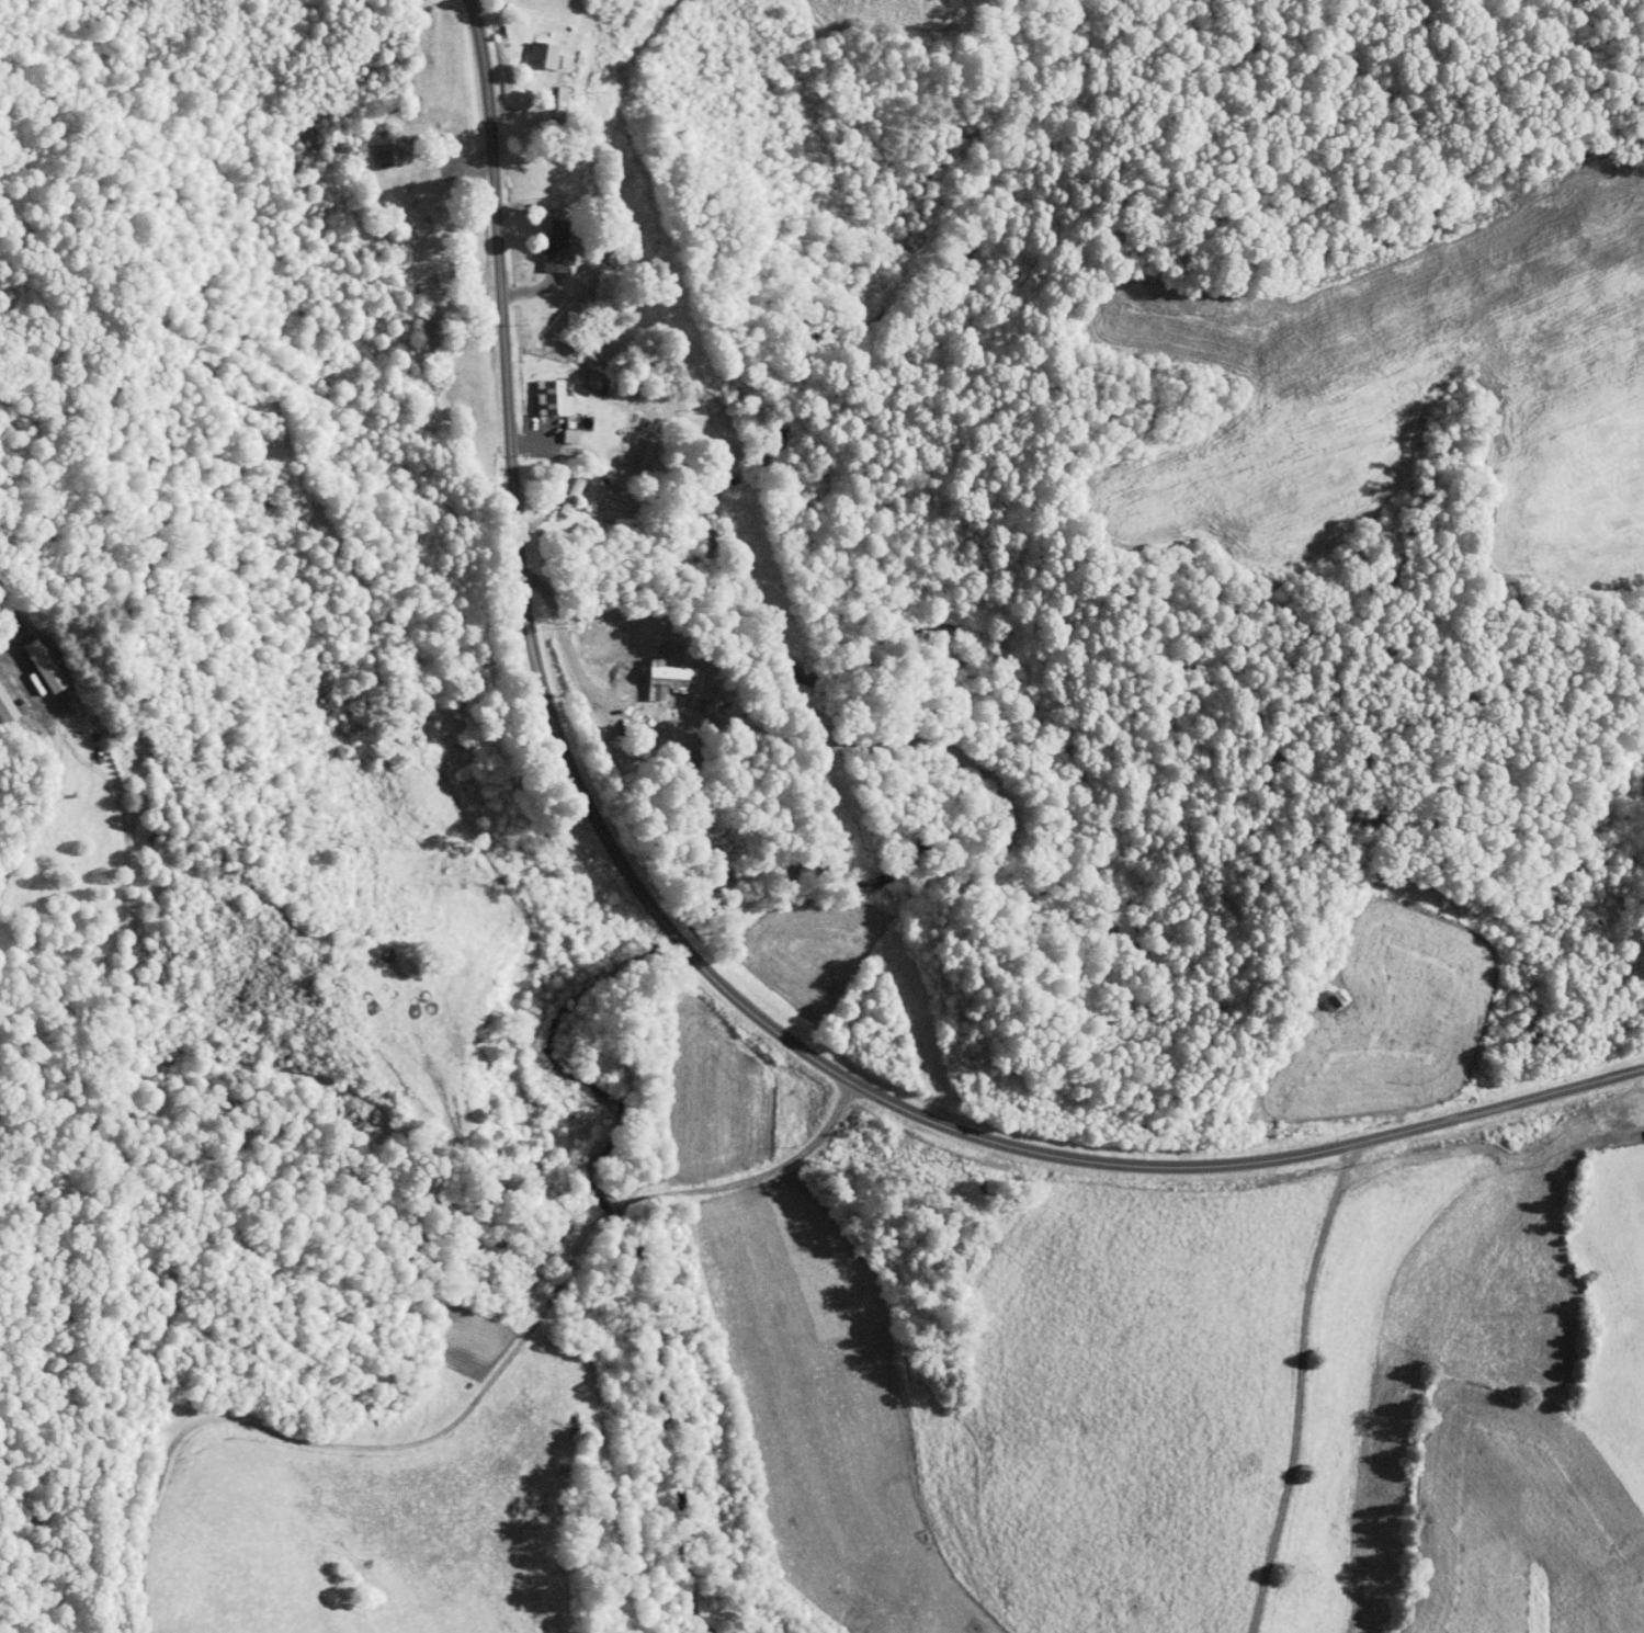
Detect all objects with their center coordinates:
building: (528, 47)
building: (372, 147)
building: (538, 246)
building: (536, 390)
building: (554, 430)
building: (556, 489)
building: (29, 658)
road: (572, 671)
building: (0, 710)
road: (698, 963)

